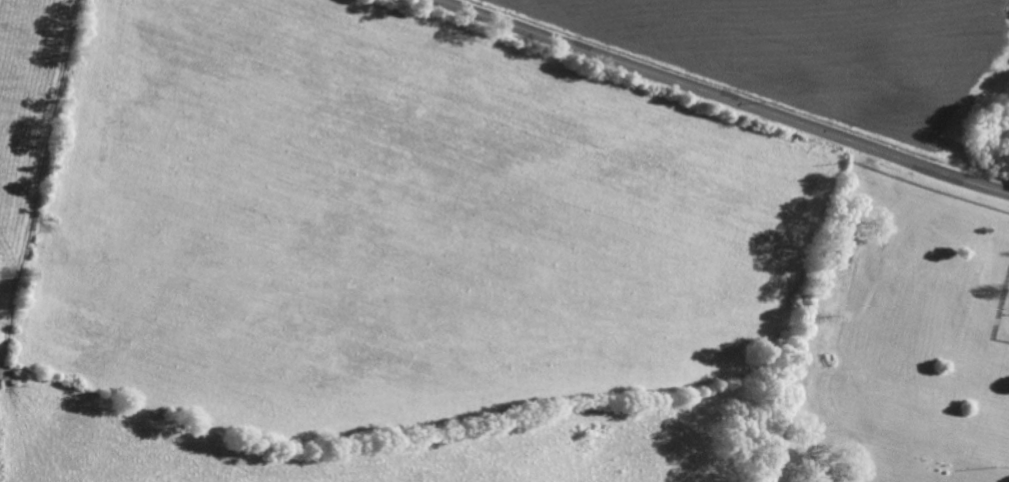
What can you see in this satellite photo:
road: (721, 97)
road: (38, 183)
building: (844, 260)

